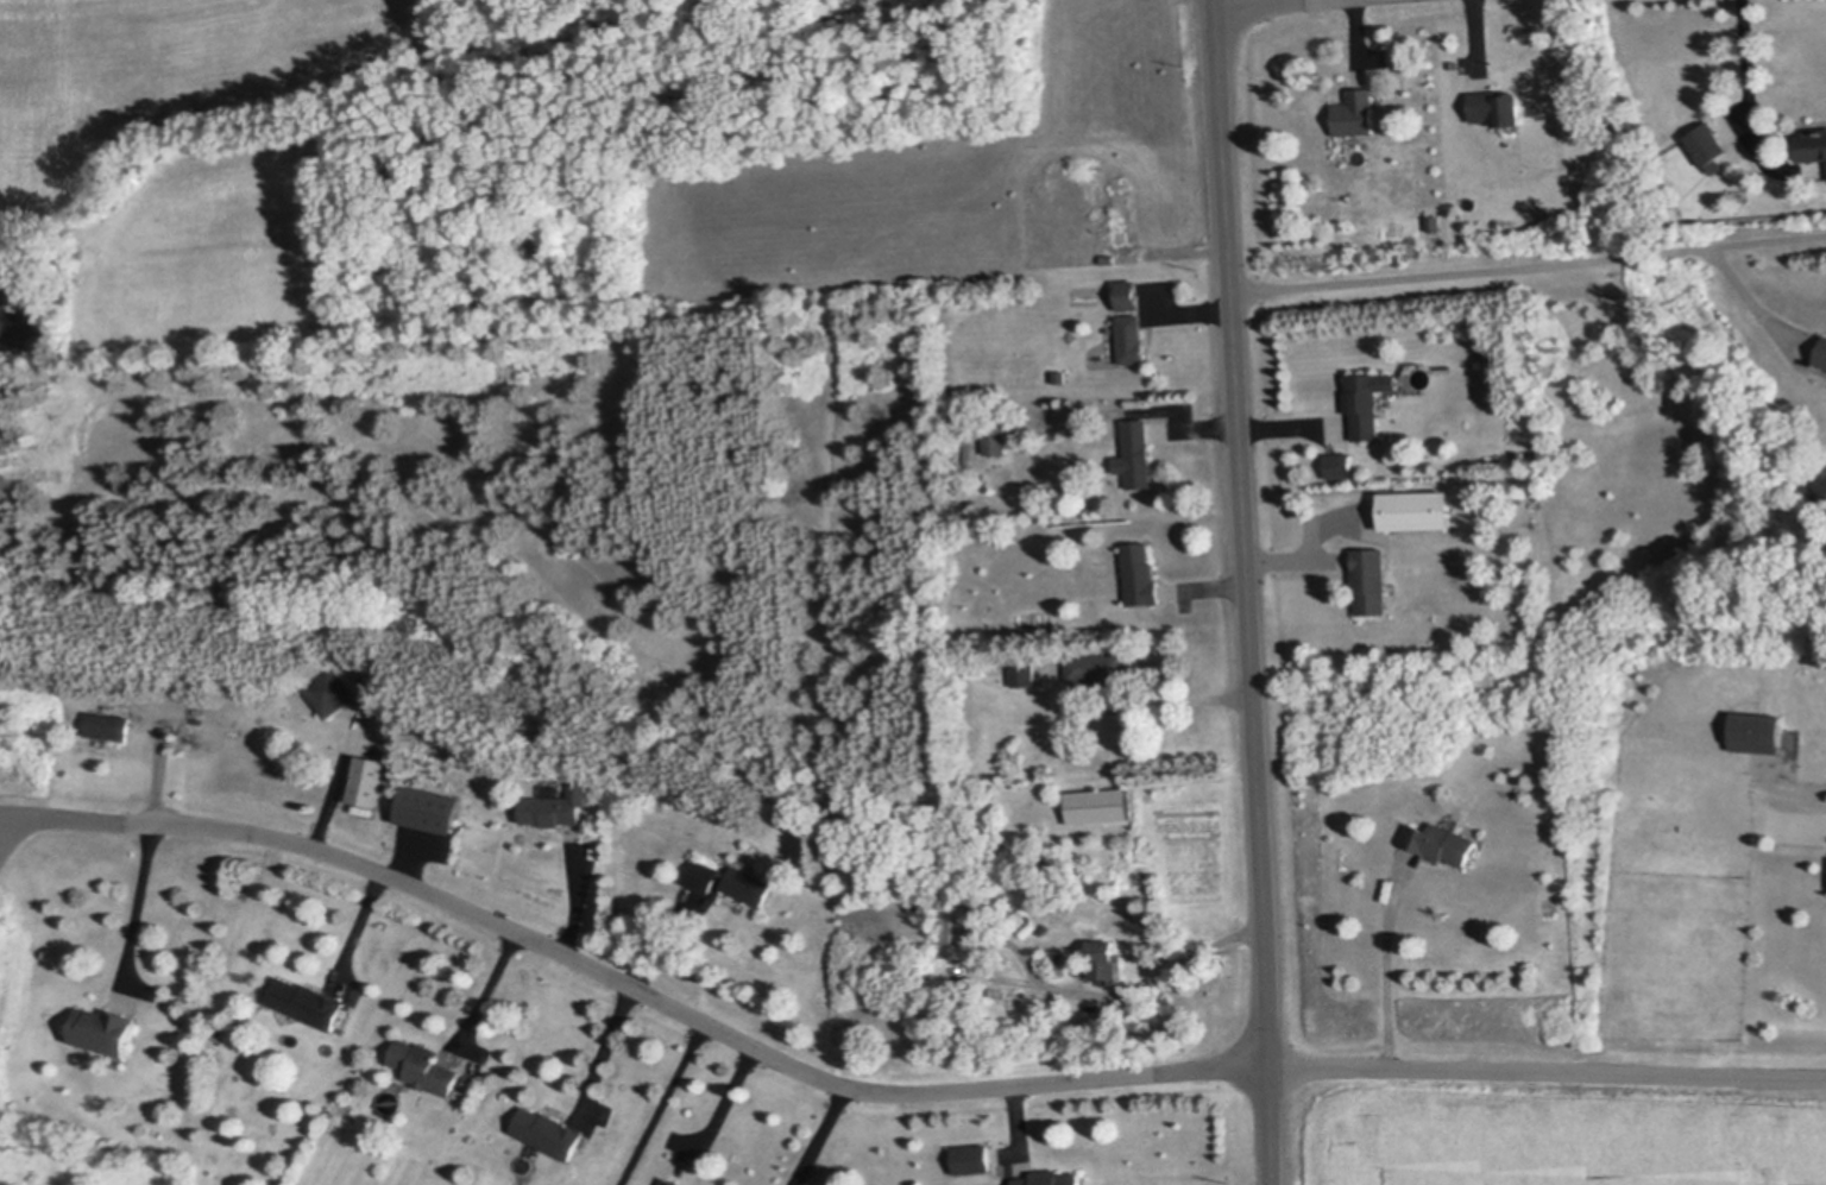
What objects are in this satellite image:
road: (1263, 4)
crop: (1113, 65)
building: (1498, 107)
building: (1359, 112)
building: (1813, 144)
building: (1709, 145)
crop: (177, 174)
building: (1120, 209)
building: (1671, 216)
building: (1436, 221)
crop: (832, 227)
building: (1109, 258)
road: (1529, 265)
building: (1129, 295)
road: (1758, 305)
building: (1133, 340)
building: (1822, 355)
building: (1062, 376)
building: (1369, 402)
building: (1079, 430)
building: (996, 437)
building: (970, 445)
building: (965, 446)
building: (1138, 453)
building: (1340, 465)
building: (1418, 510)
building: (1142, 573)
building: (1373, 580)
road: (1246, 592)
building: (1100, 666)
building: (1025, 676)
building: (370, 688)
building: (332, 692)
road: (1169, 704)
building: (111, 724)
building: (1758, 732)
road: (340, 780)
building: (367, 782)
building: (1101, 806)
building: (559, 808)
building: (429, 811)
road: (17, 812)
building: (1443, 843)
building: (704, 877)
building: (751, 887)
road: (577, 896)
road: (138, 910)
road: (360, 928)
building: (957, 931)
building: (1107, 959)
road: (626, 988)
road: (489, 994)
road: (1075, 995)
building: (309, 1003)
building: (1046, 1026)
building: (221, 1027)
building: (107, 1029)
road: (606, 1051)
building: (426, 1067)
road: (1548, 1071)
road: (660, 1105)
road: (719, 1111)
building: (550, 1133)
road: (816, 1134)
building: (974, 1160)
building: (1051, 1179)
building: (673, 1181)

